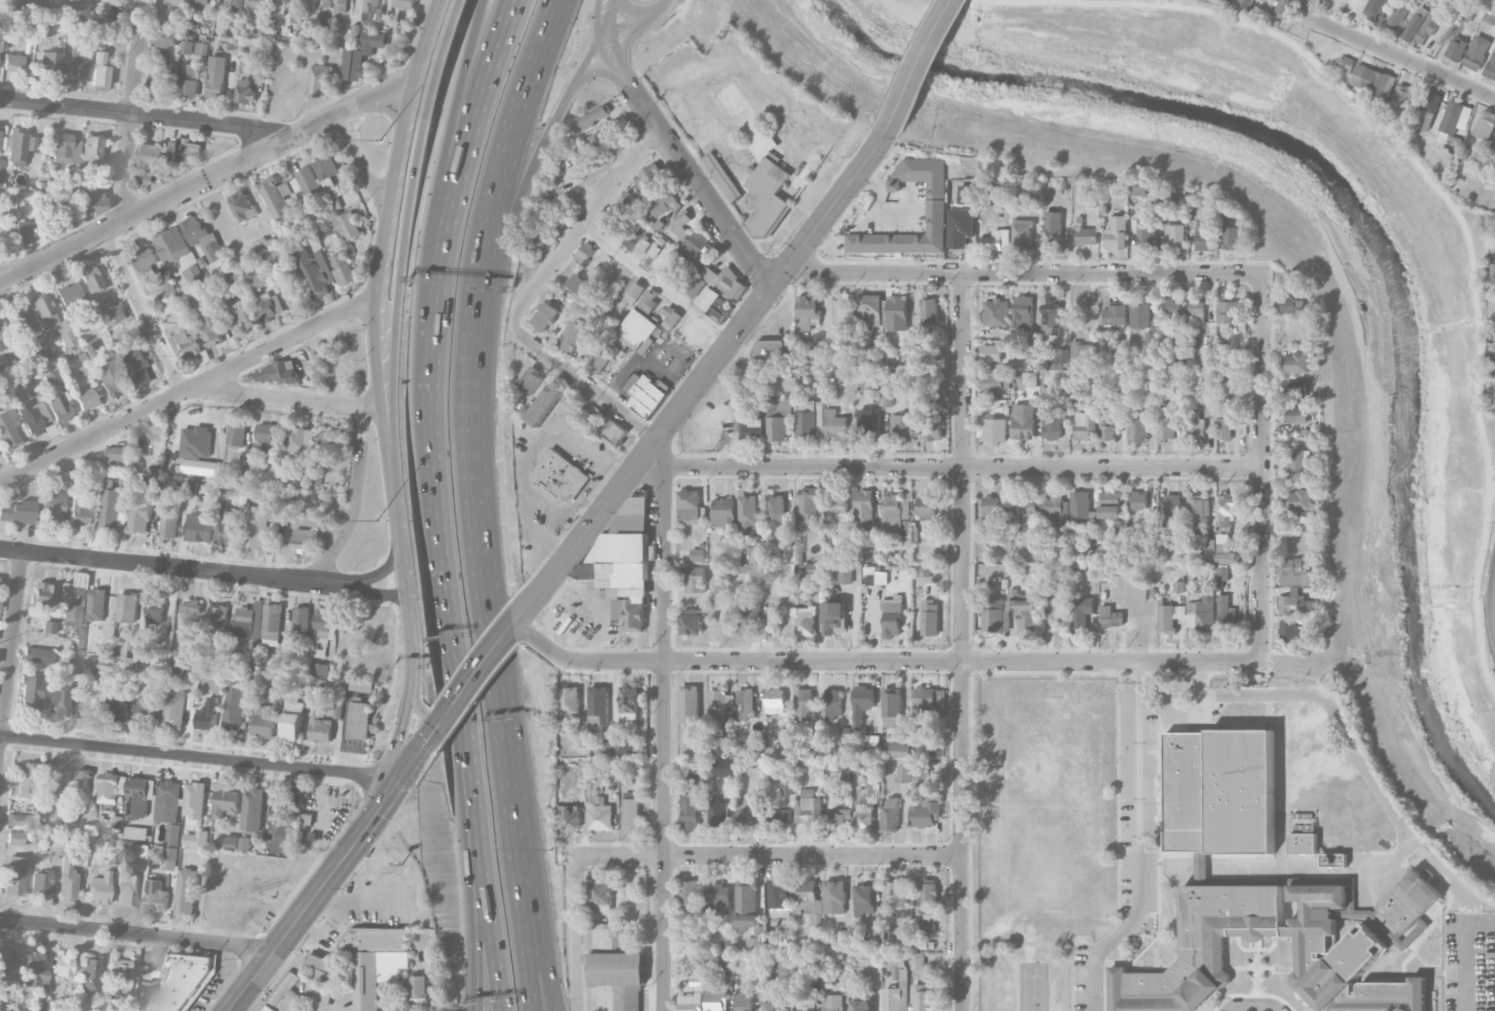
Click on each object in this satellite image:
building: (71, 0)
building: (1268, 0)
building: (1475, 0)
building: (200, 1)
road: (1146, 1)
building: (176, 2)
building: (405, 3)
building: (247, 4)
building: (311, 4)
building: (337, 4)
building: (44, 5)
building: (1244, 5)
building: (281, 7)
building: (1283, 8)
road: (1306, 8)
building: (1376, 8)
road: (638, 9)
building: (371, 10)
building: (297, 11)
building: (1466, 15)
road: (637, 17)
building: (1397, 17)
building: (0, 19)
building: (108, 20)
building: (52, 21)
building: (1413, 25)
building: (1428, 25)
road: (630, 34)
building: (167, 37)
road: (607, 37)
road: (451, 45)
building: (196, 47)
building: (1457, 48)
building: (1477, 52)
building: (361, 54)
road: (588, 54)
road: (1399, 57)
building: (13, 62)
building: (79, 62)
building: (1345, 64)
building: (50, 65)
building: (172, 66)
building: (1490, 67)
road: (919, 68)
building: (100, 70)
road: (605, 70)
building: (217, 76)
building: (1373, 79)
building: (190, 80)
building: (320, 80)
road: (628, 82)
building: (159, 84)
building: (245, 91)
building: (1402, 99)
building: (1428, 110)
road: (133, 111)
road: (149, 116)
building: (594, 116)
building: (1455, 119)
building: (1485, 124)
building: (604, 134)
building: (19, 146)
building: (185, 148)
building: (66, 149)
building: (91, 149)
building: (150, 154)
road: (463, 156)
road: (444, 157)
road: (360, 159)
road: (502, 163)
building: (2, 170)
building: (649, 176)
building: (722, 176)
building: (148, 178)
building: (329, 178)
road: (203, 182)
building: (308, 182)
building: (766, 183)
road: (1435, 185)
building: (1138, 187)
road: (596, 189)
road: (702, 189)
building: (965, 195)
building: (276, 196)
building: (90, 201)
road: (515, 203)
building: (665, 204)
building: (242, 205)
building: (302, 205)
building: (65, 208)
building: (935, 211)
road: (826, 212)
building: (619, 213)
road: (586, 224)
building: (347, 225)
building: (681, 225)
building: (1053, 230)
building: (23, 231)
building: (1117, 233)
building: (1022, 234)
building: (1205, 234)
building: (1086, 235)
building: (1146, 235)
building: (636, 236)
building: (957, 236)
building: (202, 237)
building: (1174, 238)
building: (1233, 238)
building: (996, 240)
building: (535, 241)
building: (171, 242)
road: (380, 244)
building: (261, 245)
building: (695, 250)
building: (584, 253)
building: (274, 255)
building: (147, 260)
building: (598, 267)
building: (341, 268)
building: (671, 270)
building: (314, 271)
road: (1021, 274)
building: (1491, 274)
building: (92, 280)
road: (3, 281)
building: (255, 281)
building: (727, 281)
building: (694, 283)
building: (579, 284)
road: (657, 285)
building: (169, 290)
road: (398, 290)
building: (634, 291)
building: (70, 293)
building: (649, 302)
building: (1292, 303)
building: (270, 305)
building: (170, 307)
building: (1176, 307)
building: (720, 309)
building: (1196, 309)
building: (113, 310)
building: (807, 311)
building: (869, 311)
building: (929, 311)
building: (1022, 311)
building: (1228, 311)
road: (145, 312)
building: (897, 312)
building: (995, 312)
building: (1051, 312)
road: (1494, 312)
building: (1115, 313)
building: (244, 314)
building: (671, 314)
building: (545, 316)
building: (1141, 316)
building: (51, 318)
building: (18, 322)
building: (638, 329)
building: (211, 331)
building: (572, 338)
building: (4, 339)
building: (1146, 341)
building: (190, 344)
building: (803, 345)
building: (1082, 353)
building: (990, 355)
building: (1491, 356)
building: (1061, 357)
building: (598, 361)
building: (1295, 362)
building: (141, 367)
building: (87, 368)
building: (275, 373)
building: (110, 377)
building: (52, 378)
building: (866, 378)
building: (1030, 378)
building: (531, 380)
building: (995, 382)
road: (583, 383)
building: (891, 385)
road: (186, 391)
building: (1297, 392)
building: (646, 393)
building: (1075, 393)
building: (86, 399)
road: (293, 400)
building: (1223, 402)
building: (546, 404)
building: (61, 407)
building: (1298, 414)
building: (32, 416)
building: (779, 418)
building: (810, 420)
building: (1023, 421)
building: (1053, 422)
building: (835, 423)
building: (867, 424)
building: (1085, 424)
building: (747, 425)
building: (902, 425)
building: (1138, 426)
building: (609, 427)
building: (934, 427)
building: (1166, 427)
building: (1196, 428)
building: (994, 429)
building: (1223, 429)
building: (9, 430)
building: (1108, 430)
building: (237, 433)
building: (268, 437)
building: (300, 437)
building: (197, 442)
building: (328, 445)
road: (539, 451)
road: (661, 453)
building: (113, 455)
road: (640, 459)
building: (1297, 460)
building: (272, 463)
road: (471, 464)
road: (963, 468)
road: (1261, 468)
building: (561, 475)
building: (153, 477)
building: (317, 479)
building: (191, 489)
road: (1492, 489)
building: (1139, 499)
building: (1298, 499)
building: (839, 503)
building: (113, 504)
building: (1111, 504)
building: (52, 506)
building: (689, 506)
building: (991, 506)
building: (1080, 506)
building: (1171, 506)
building: (776, 507)
building: (926, 507)
building: (1226, 508)
building: (748, 509)
building: (864, 509)
building: (893, 510)
building: (1027, 510)
building: (1056, 510)
building: (18, 512)
building: (723, 512)
building: (1197, 512)
building: (80, 514)
building: (140, 516)
road: (354, 517)
building: (170, 524)
building: (257, 526)
building: (1120, 526)
building: (199, 527)
building: (227, 527)
building: (905, 529)
building: (305, 540)
road: (402, 547)
building: (1208, 547)
building: (1224, 549)
building: (623, 551)
building: (697, 554)
building: (867, 554)
building: (1047, 555)
building: (754, 563)
building: (805, 565)
road: (169, 567)
road: (378, 571)
building: (922, 571)
building: (1294, 572)
building: (845, 573)
building: (1223, 573)
building: (874, 576)
building: (694, 579)
building: (1049, 580)
road: (444, 584)
road: (373, 592)
building: (43, 595)
building: (716, 598)
building: (72, 601)
building: (97, 604)
building: (1295, 604)
road: (1494, 604)
building: (127, 606)
building: (155, 609)
building: (1057, 609)
building: (1225, 611)
building: (630, 612)
building: (1080, 612)
building: (1202, 612)
building: (994, 614)
building: (1025, 614)
building: (892, 616)
building: (1110, 616)
building: (749, 617)
building: (835, 617)
building: (929, 617)
building: (1170, 617)
building: (190, 619)
building: (301, 619)
building: (805, 619)
building: (218, 620)
building: (692, 621)
building: (250, 623)
building: (272, 624)
building: (324, 624)
road: (1494, 626)
building: (48, 627)
building: (1291, 631)
road: (413, 641)
road: (963, 642)
road: (491, 645)
building: (134, 649)
building: (318, 653)
road: (11, 655)
building: (38, 655)
building: (176, 655)
building: (74, 660)
road: (882, 663)
building: (319, 668)
building: (99, 671)
road: (477, 675)
building: (220, 686)
building: (34, 692)
building: (59, 698)
building: (571, 699)
building: (774, 700)
building: (118, 701)
building: (745, 703)
building: (833, 703)
building: (862, 703)
building: (930, 703)
building: (689, 704)
building: (719, 704)
building: (804, 704)
building: (234, 705)
building: (599, 705)
building: (629, 705)
road: (420, 707)
building: (892, 707)
building: (146, 708)
building: (175, 708)
building: (207, 715)
building: (292, 717)
building: (360, 719)
building: (264, 720)
traffic signals: (439, 725)
building: (321, 729)
building: (844, 733)
building: (817, 735)
road: (400, 737)
building: (786, 737)
road: (664, 739)
road: (1344, 746)
building: (607, 747)
building: (899, 748)
building: (628, 749)
building: (936, 750)
road: (198, 756)
building: (697, 765)
building: (637, 769)
road: (508, 770)
building: (903, 773)
building: (696, 778)
building: (921, 778)
building: (27, 780)
building: (54, 784)
building: (80, 785)
building: (112, 787)
building: (868, 790)
building: (1219, 792)
traffic signals: (391, 793)
building: (140, 796)
building: (195, 799)
building: (168, 800)
building: (226, 802)
building: (807, 806)
building: (253, 808)
building: (690, 809)
building: (925, 810)
building: (631, 811)
building: (719, 812)
building: (600, 813)
building: (746, 813)
building: (890, 813)
building: (784, 814)
building: (307, 818)
building: (570, 818)
building: (838, 819)
building: (19, 820)
building: (864, 820)
building: (1304, 822)
building: (136, 832)
building: (174, 833)
building: (15, 838)
building: (53, 840)
building: (232, 841)
building: (245, 843)
building: (1302, 843)
road: (1138, 845)
building: (136, 849)
building: (83, 855)
road: (723, 855)
building: (113, 858)
building: (171, 858)
building: (1333, 859)
road: (337, 866)
building: (15, 875)
building: (67, 879)
building: (40, 883)
building: (100, 888)
building: (127, 889)
building: (187, 890)
building: (690, 894)
building: (928, 894)
building: (156, 895)
building: (601, 896)
building: (834, 896)
building: (718, 897)
building: (780, 898)
building: (863, 898)
building: (896, 898)
road: (358, 901)
building: (809, 901)
building: (746, 905)
building: (1407, 907)
building: (923, 926)
road: (537, 927)
road: (524, 928)
road: (473, 930)
road: (487, 931)
road: (136, 934)
building: (888, 935)
building: (604, 937)
building: (844, 939)
building: (874, 940)
building: (727, 941)
building: (754, 943)
building: (1203, 943)
road: (1464, 948)
building: (868, 959)
building: (376, 960)
building: (781, 960)
building: (917, 961)
building: (7, 962)
building: (62, 965)
building: (726, 965)
building: (326, 967)
building: (34, 971)
building: (90, 975)
building: (119, 977)
building: (619, 977)
road: (577, 981)
building: (175, 984)
building: (422, 990)
building: (699, 990)
building: (287, 994)
building: (897, 995)
building: (802, 998)
building: (923, 998)
building: (715, 999)
building: (775, 1000)
building: (1, 1002)
building: (743, 1002)
building: (833, 1002)
building: (862, 1005)
road: (1253, 1006)
building: (270, 1008)

